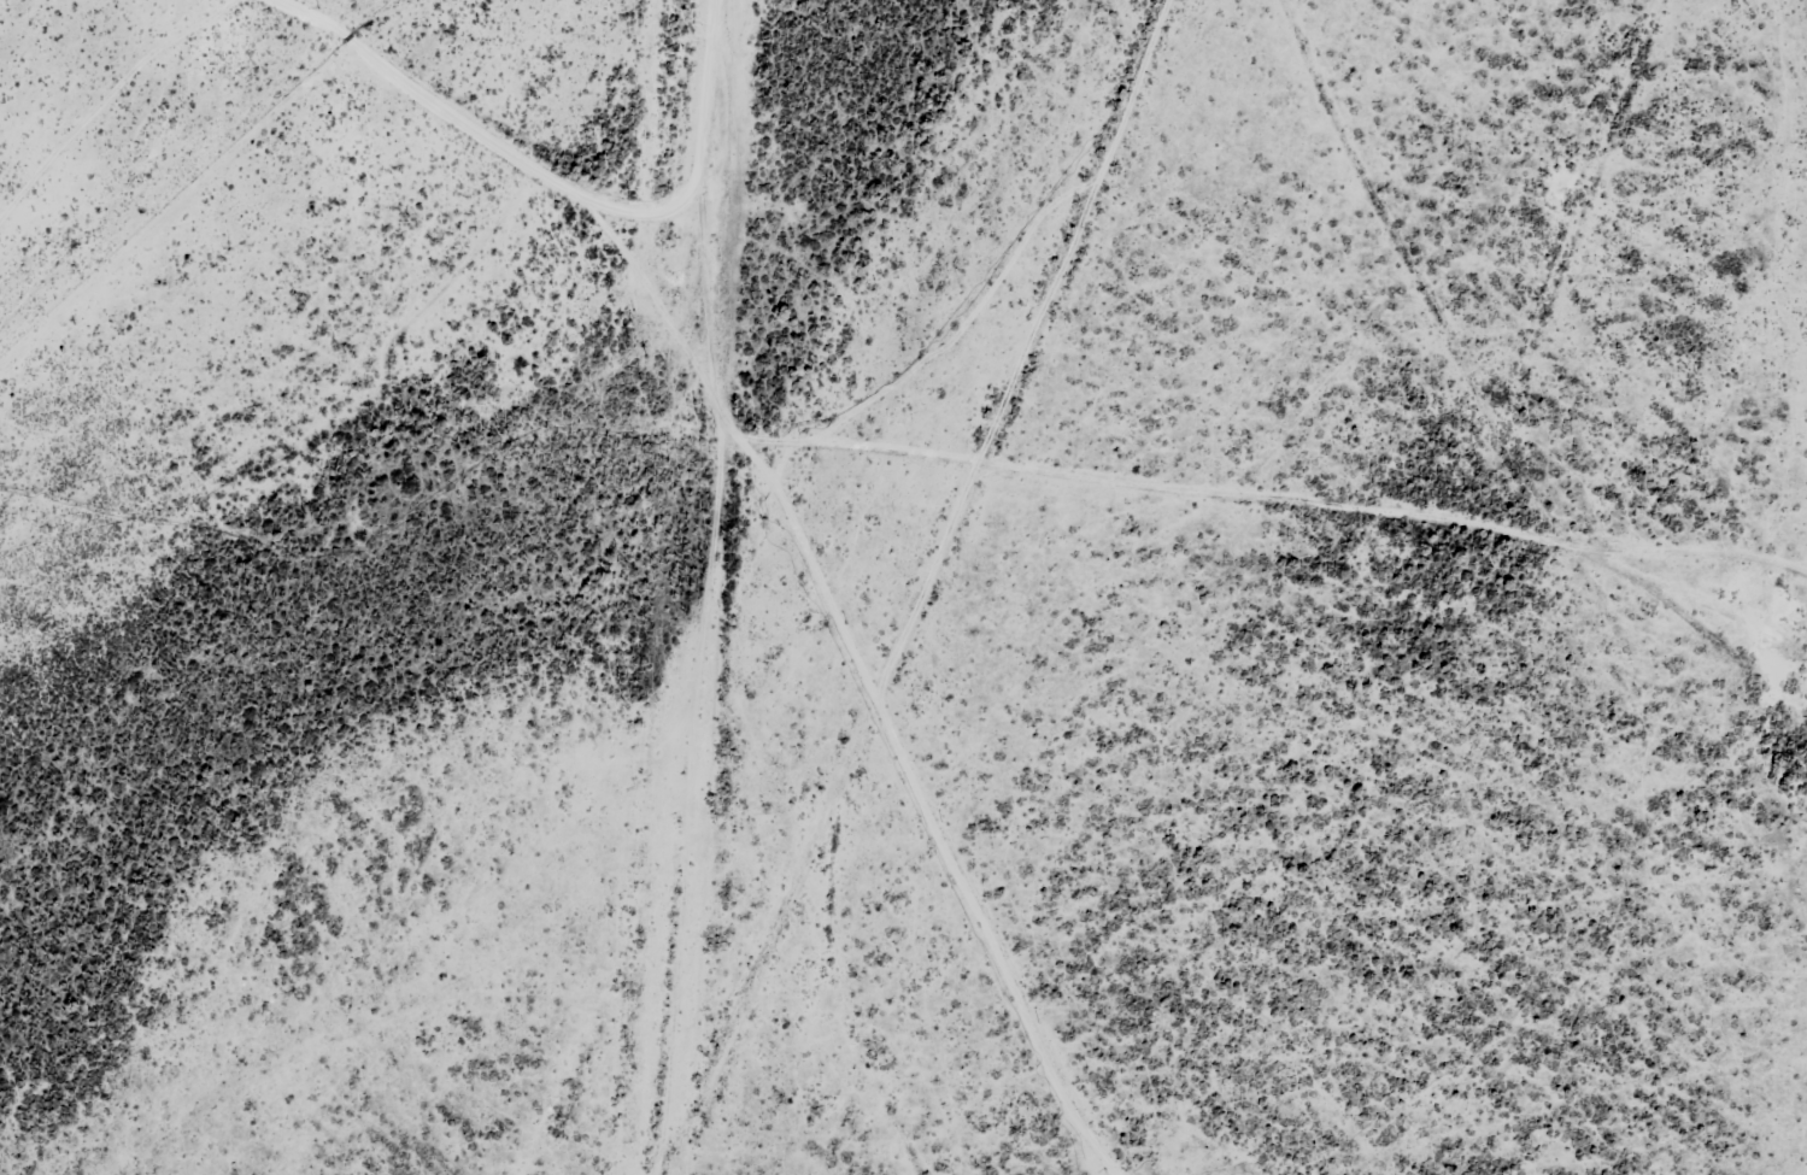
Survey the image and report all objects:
airport runway: (688, 587)
road: (927, 593)

